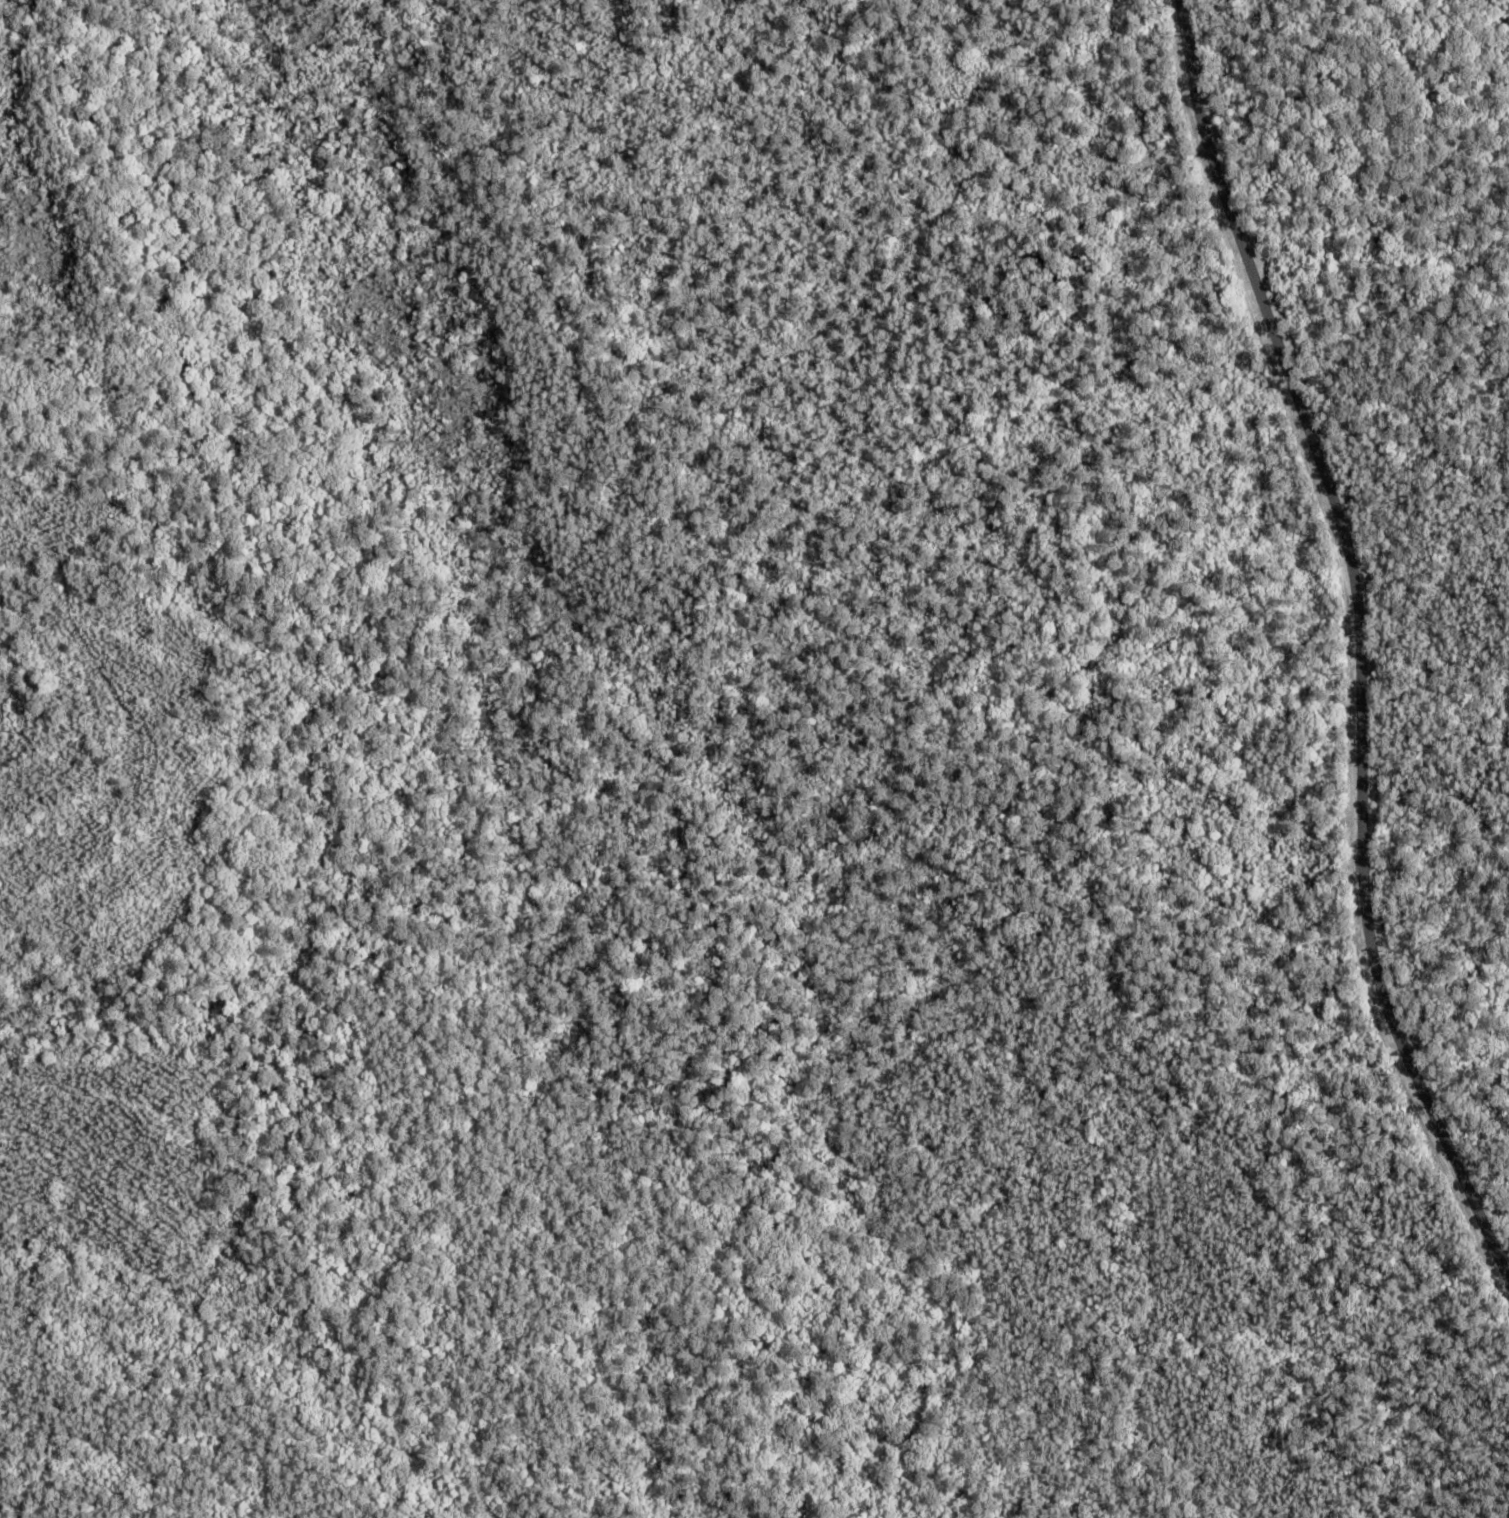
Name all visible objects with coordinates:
road: (1362, 640)

